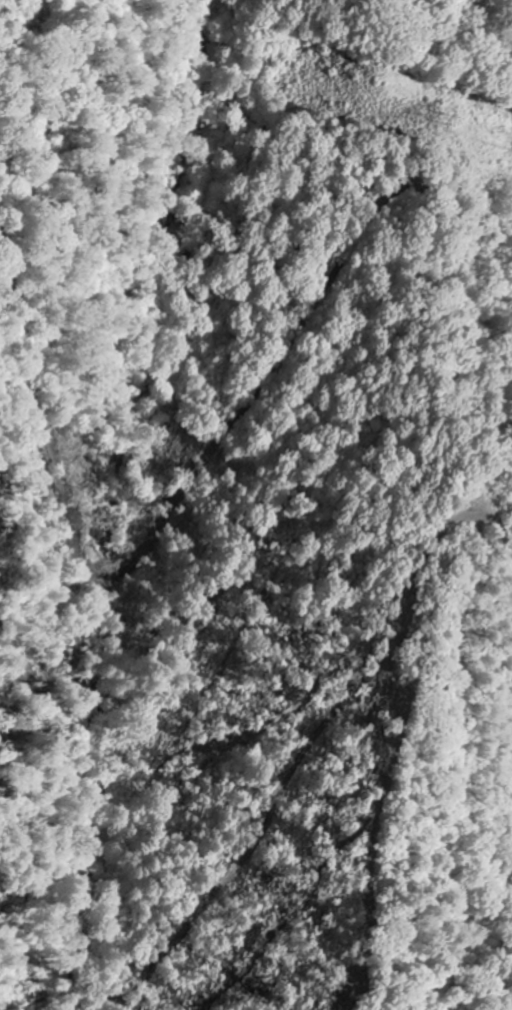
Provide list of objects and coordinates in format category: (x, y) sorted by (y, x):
power tower: (450, 127)

